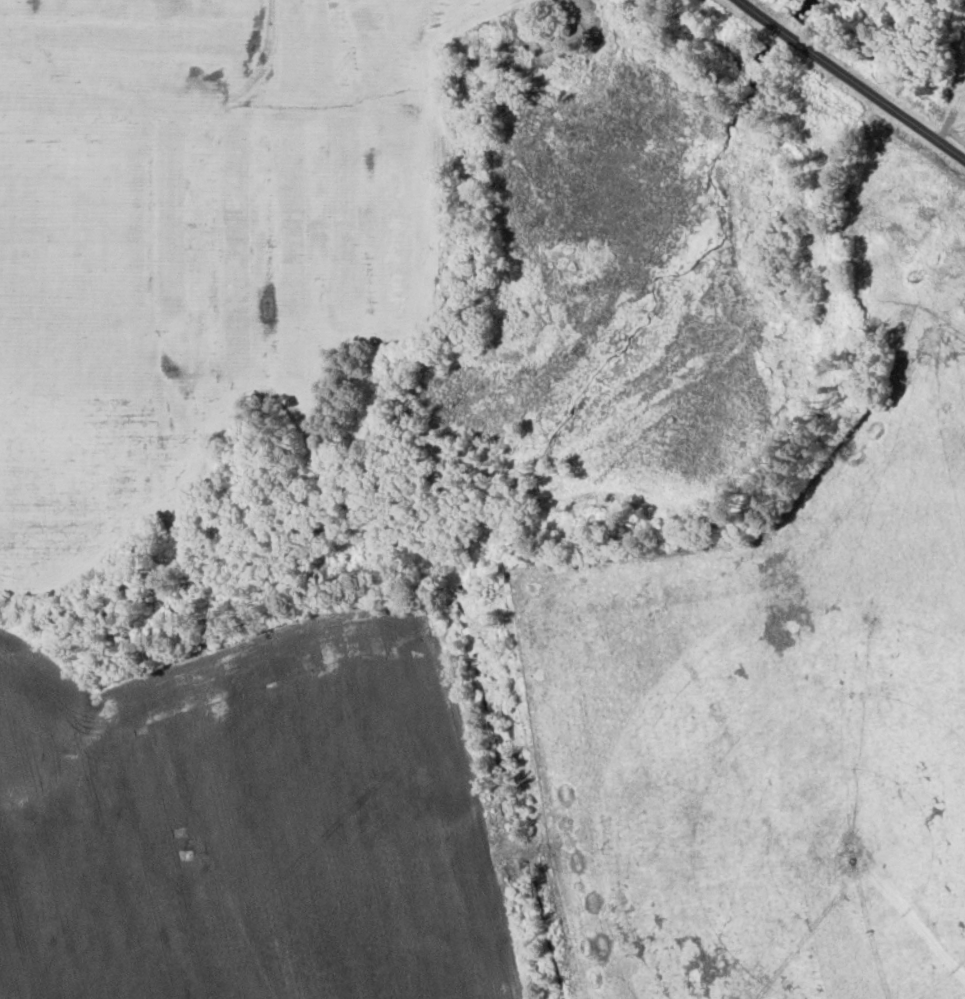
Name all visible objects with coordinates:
road: (851, 80)
road: (958, 90)

